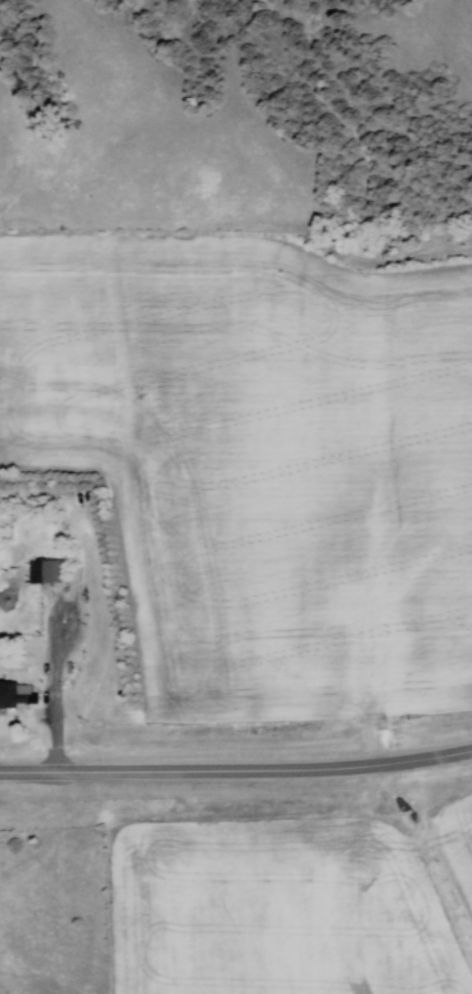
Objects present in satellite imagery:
building: (46, 571)
building: (73, 574)
road: (53, 679)
building: (17, 694)
road: (236, 769)

